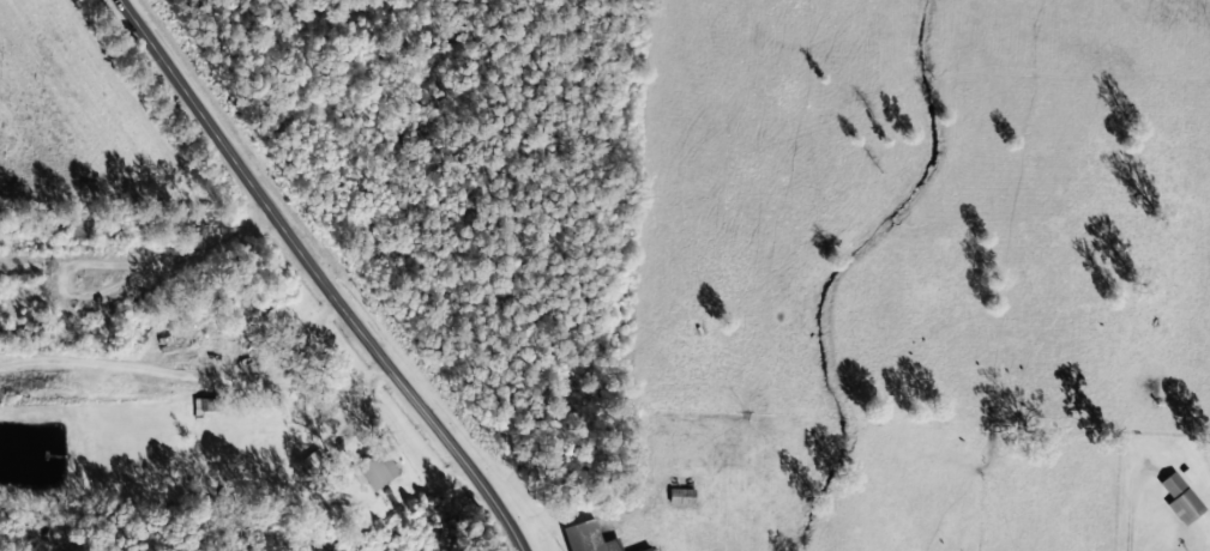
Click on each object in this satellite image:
road: (321, 275)
building: (276, 319)
building: (380, 471)
building: (1181, 497)
building: (589, 537)
building: (646, 549)

